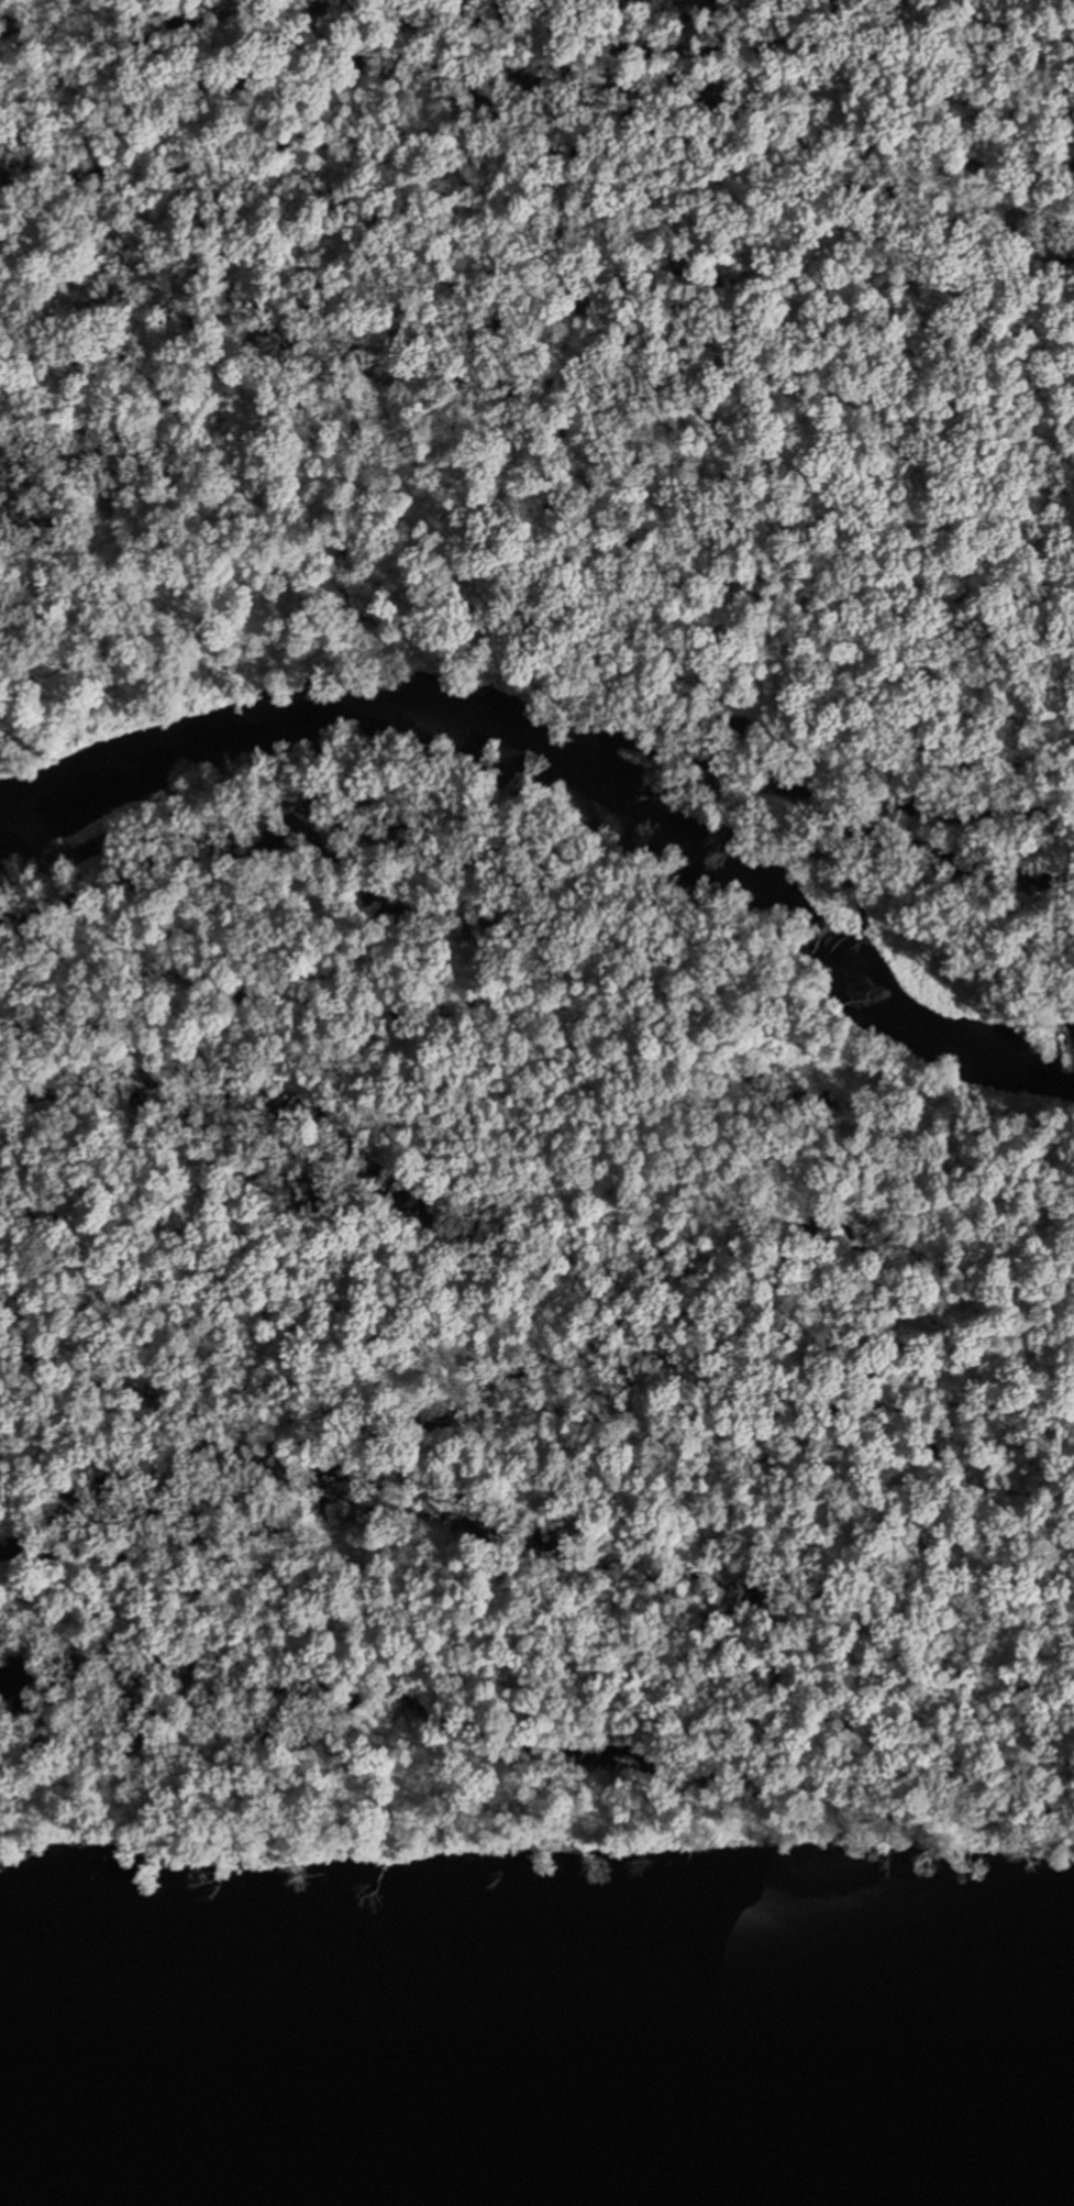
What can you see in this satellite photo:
river: (252, 2159)

